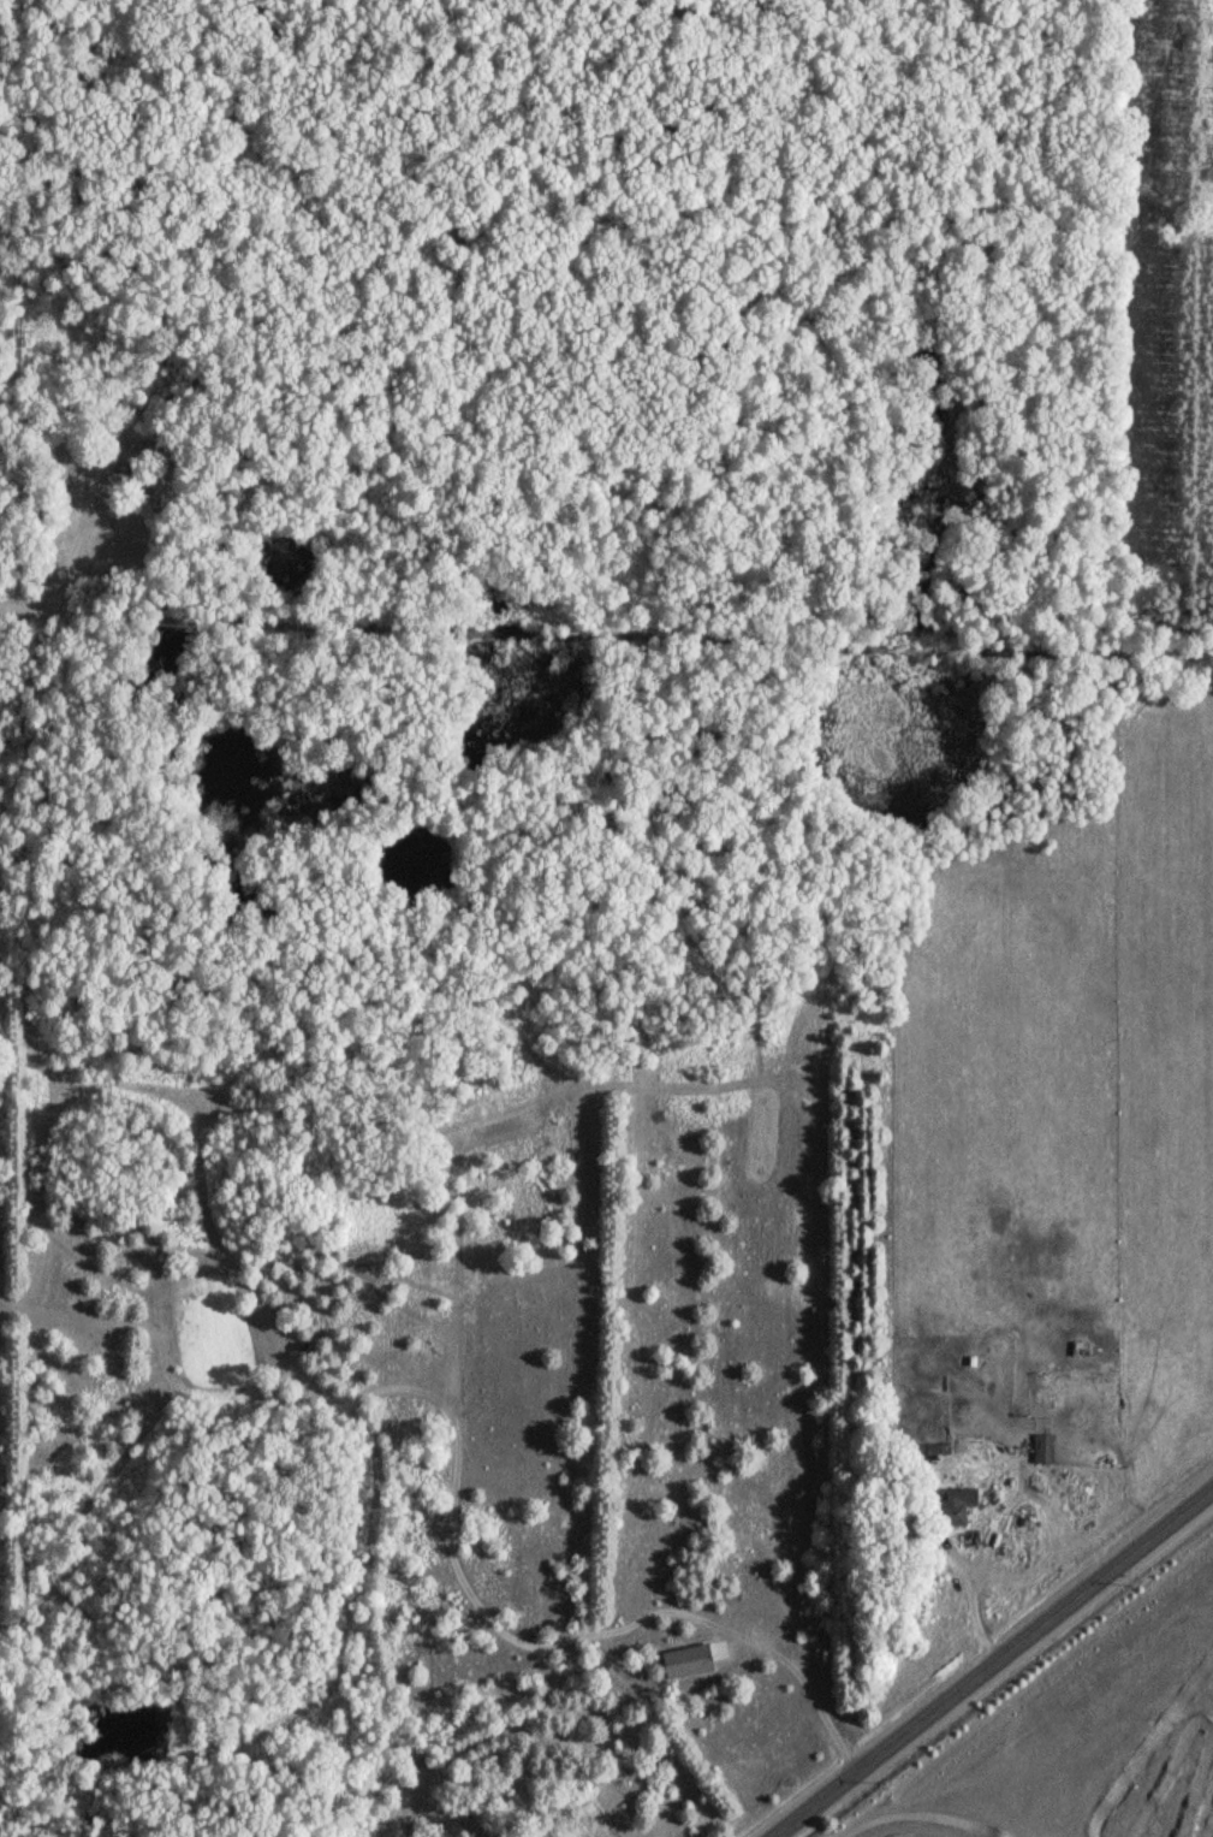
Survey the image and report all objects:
road: (409, 314)
road: (13, 609)
road: (619, 636)
building: (1047, 1450)
building: (968, 1498)
road: (780, 1651)
building: (690, 1663)
road: (994, 1666)

